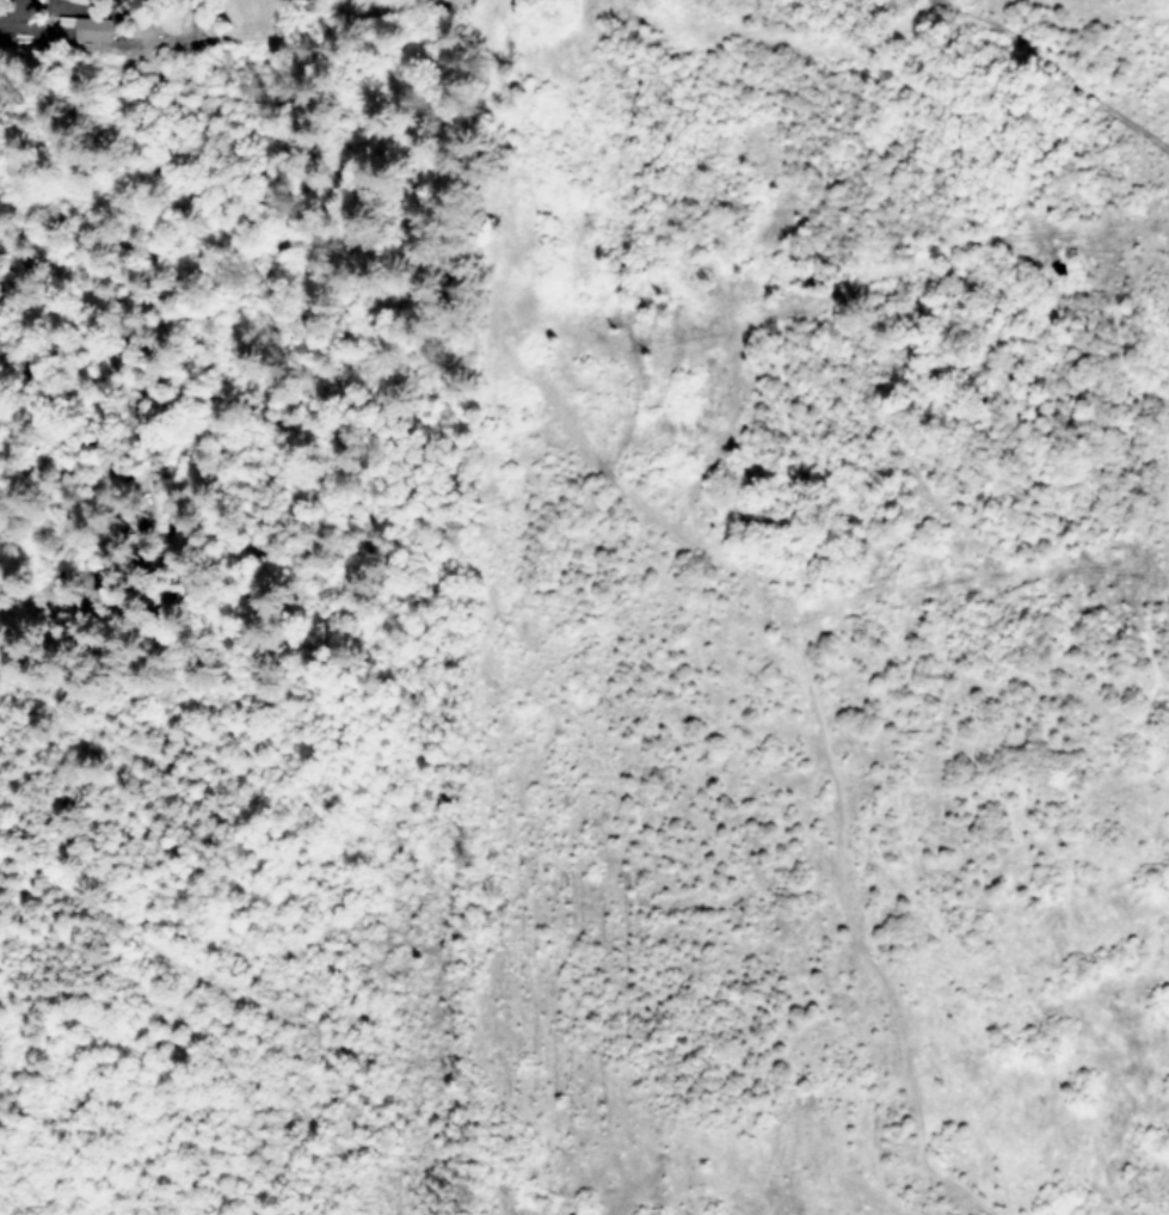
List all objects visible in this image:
road: (18, 16)
building: (94, 27)

